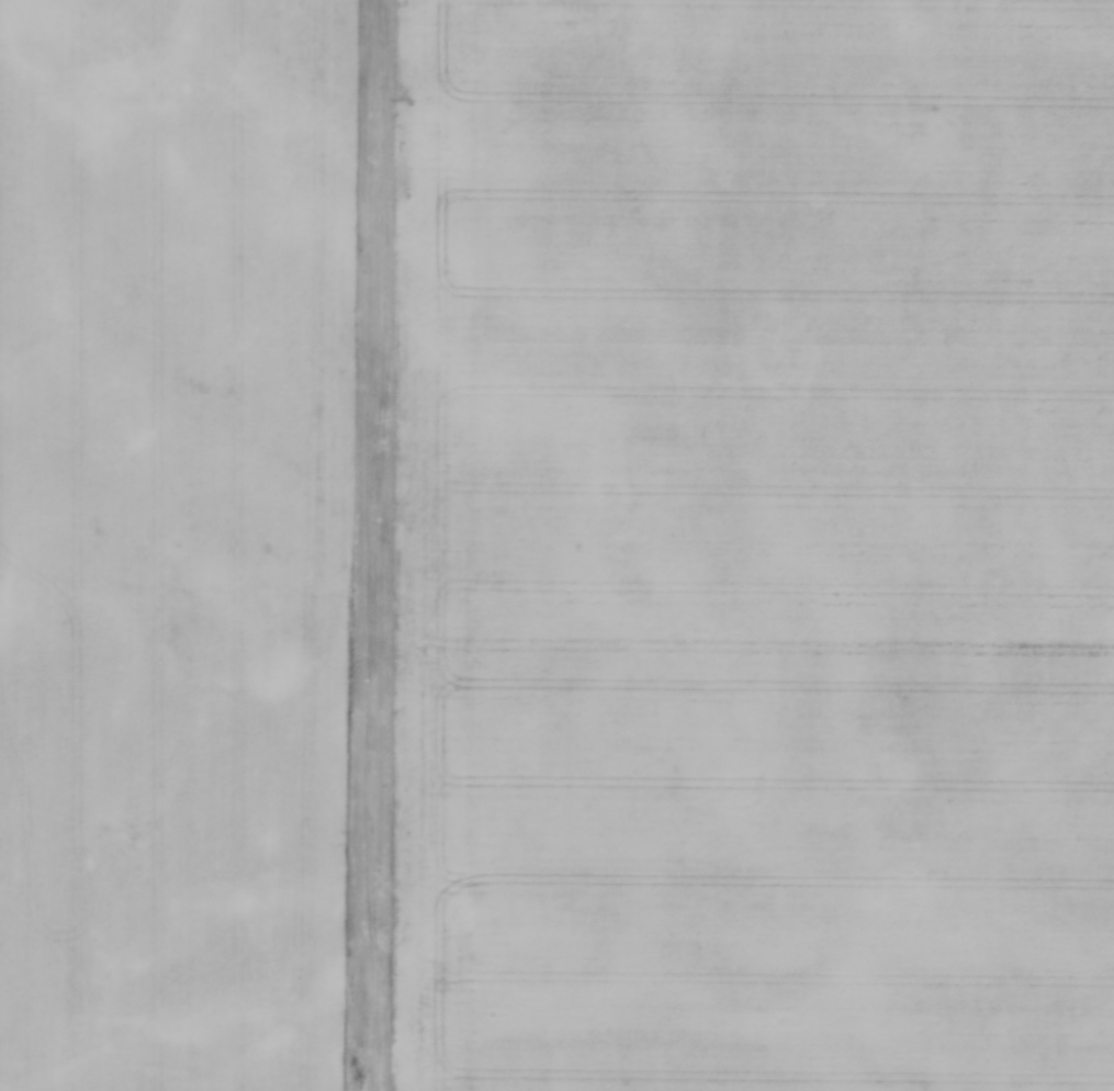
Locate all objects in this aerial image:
road: (375, 544)

